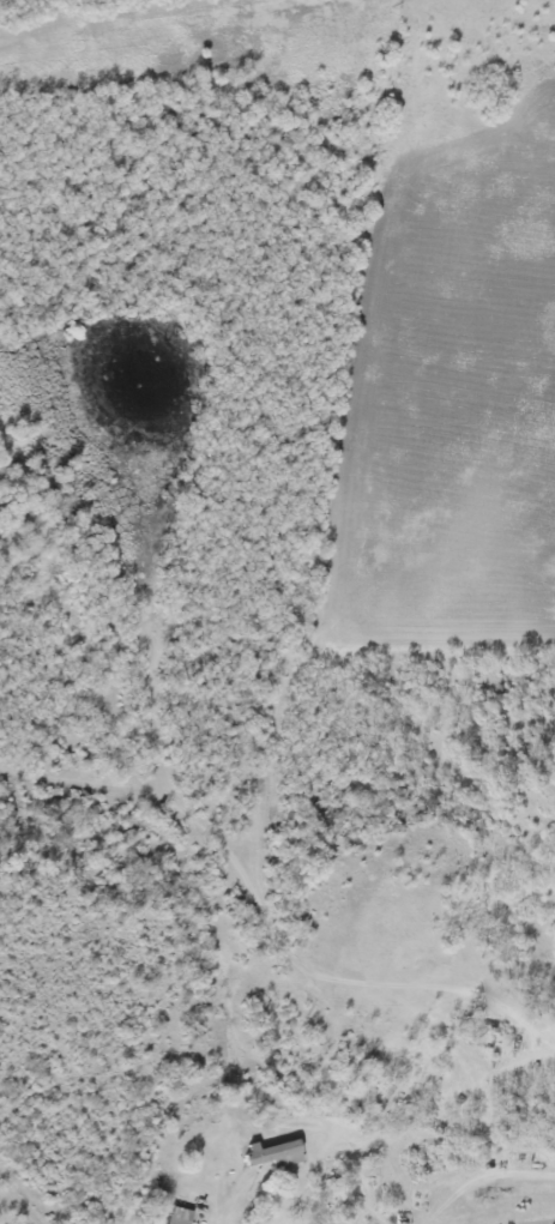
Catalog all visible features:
building: (272, 1153)
building: (179, 1216)

